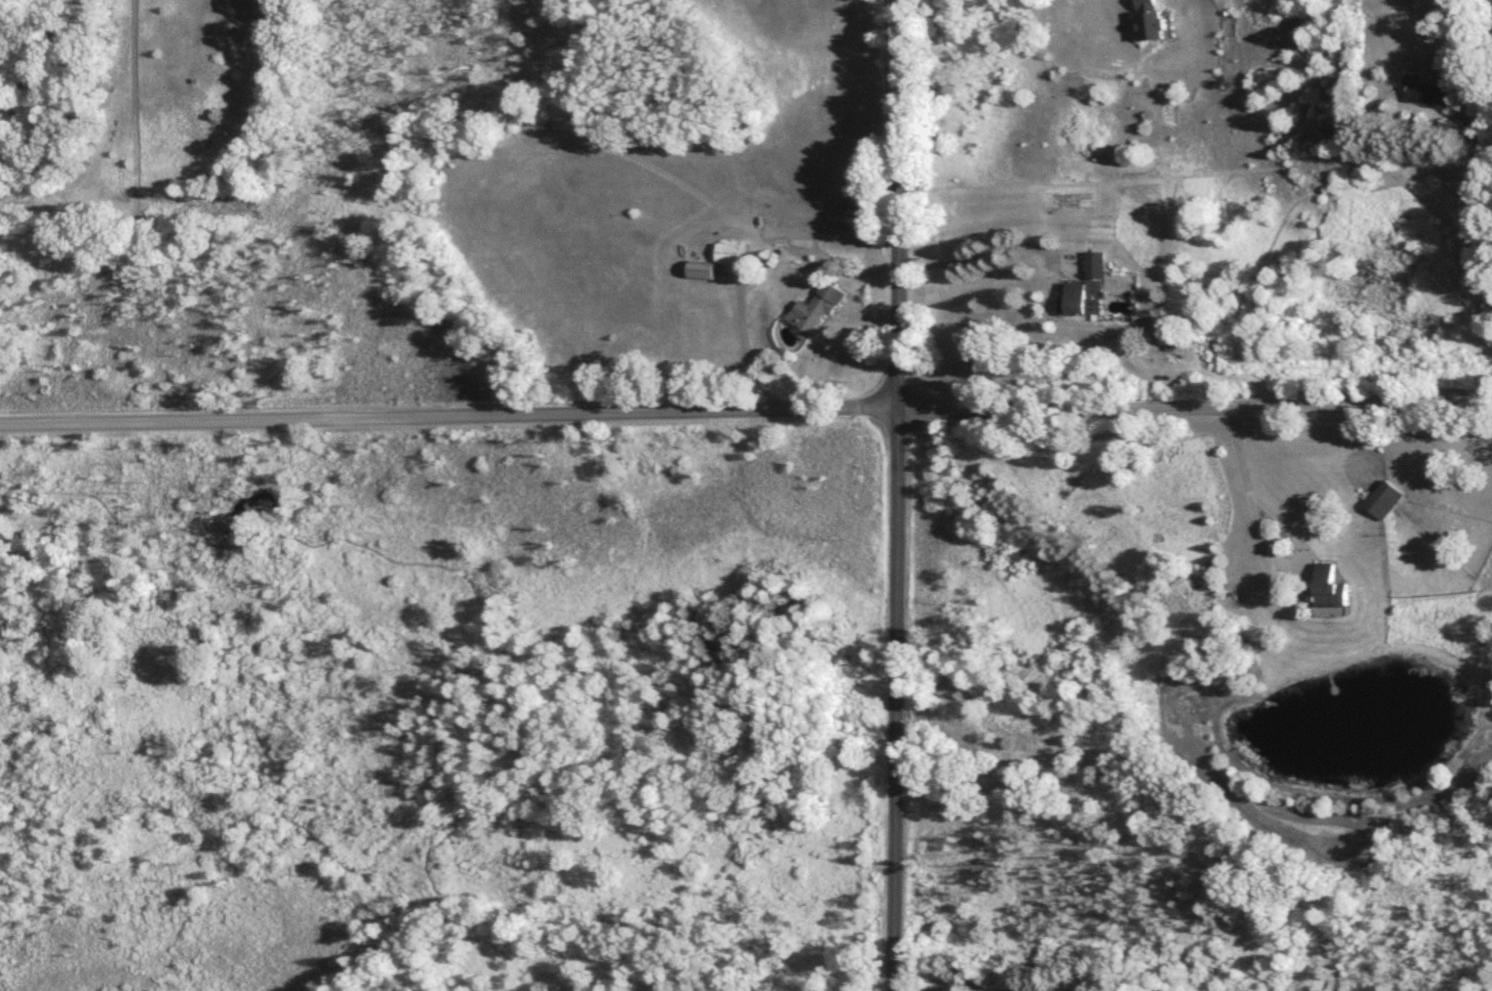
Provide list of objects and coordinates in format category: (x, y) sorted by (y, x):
building: (1150, 21)
building: (1432, 96)
road: (1478, 126)
road: (898, 204)
road: (977, 257)
building: (717, 263)
building: (1090, 290)
building: (816, 313)
road: (1196, 408)
road: (449, 415)
road: (1251, 486)
building: (1385, 502)
building: (1331, 590)
road: (494, 624)
road: (896, 700)

